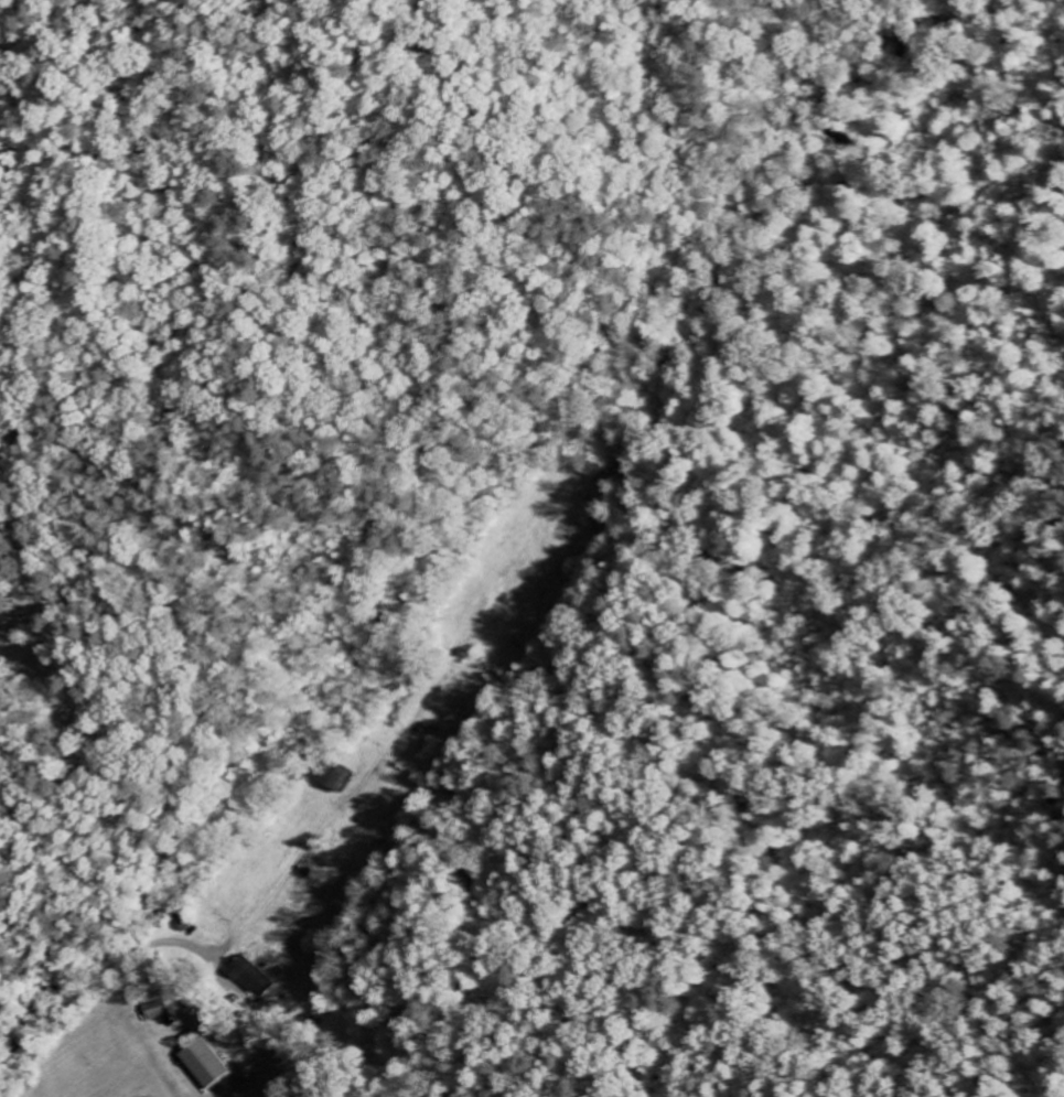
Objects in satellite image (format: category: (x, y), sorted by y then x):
building: (340, 779)
road: (14, 962)
building: (251, 977)
building: (157, 1011)
building: (203, 1064)

